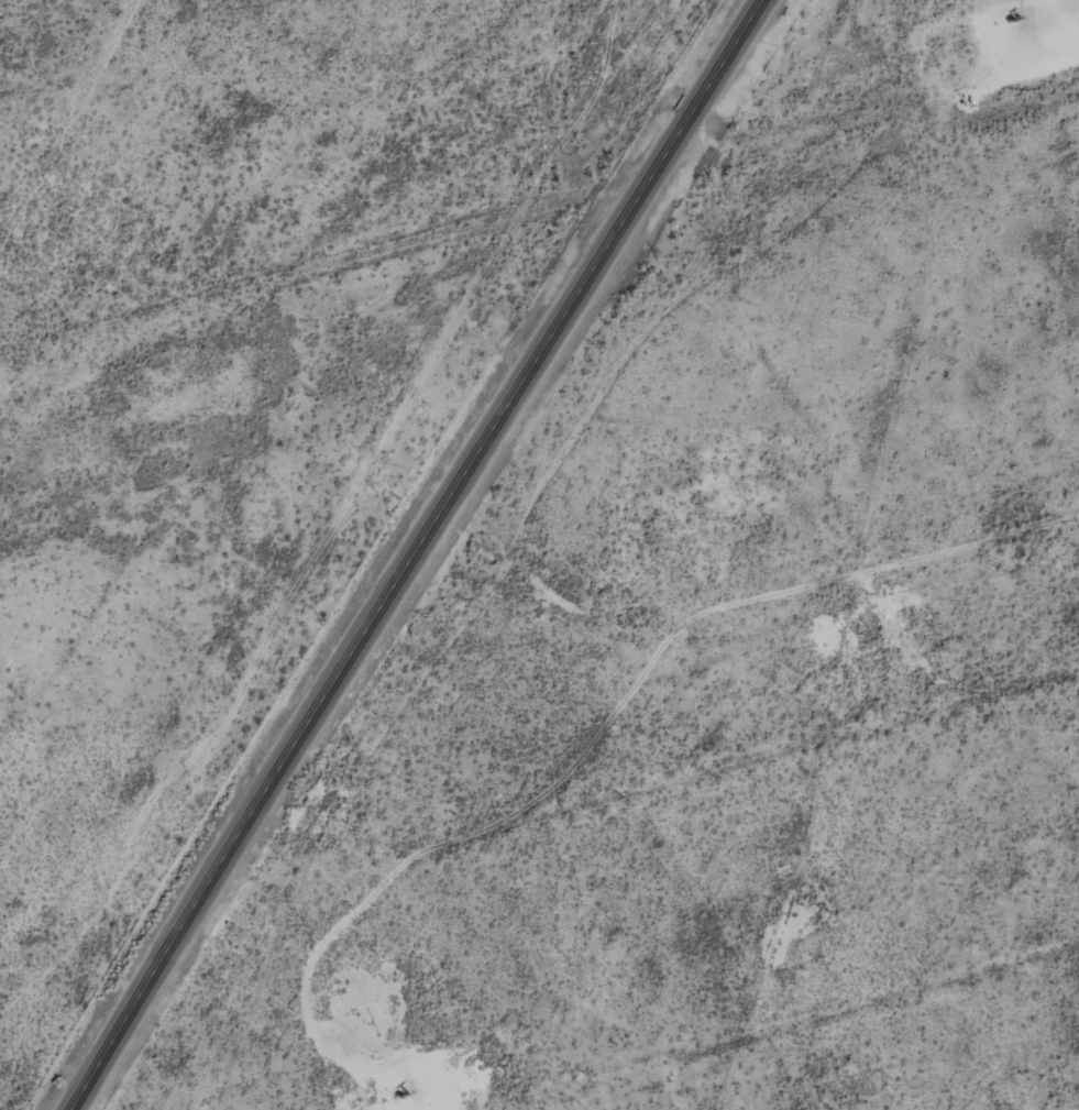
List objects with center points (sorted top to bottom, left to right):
road: (539, 215)
road: (418, 553)

